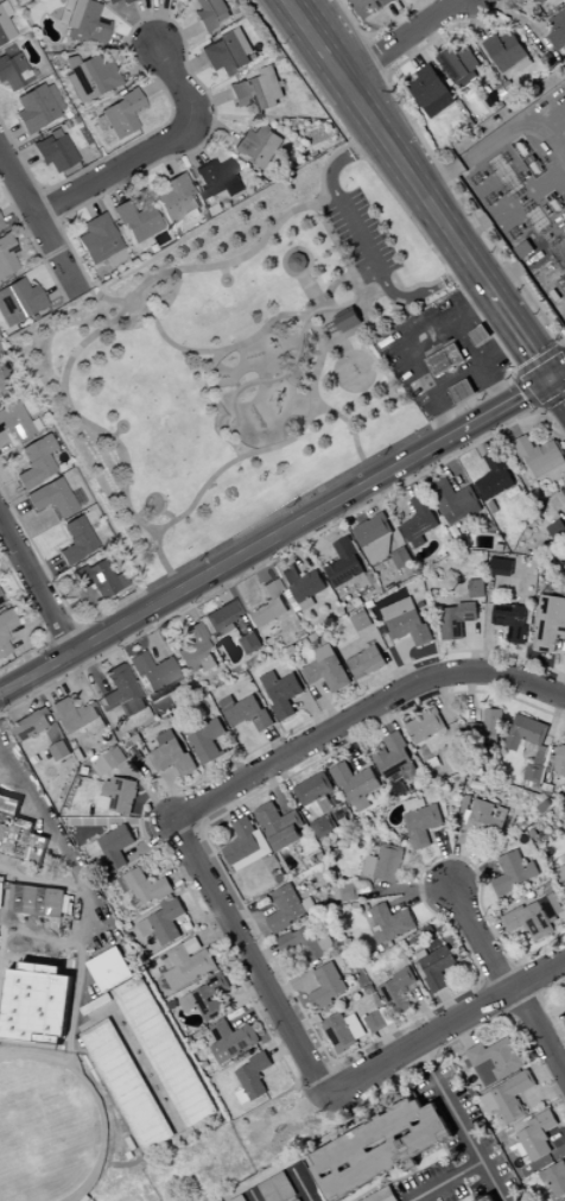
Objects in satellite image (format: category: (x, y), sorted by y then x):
building: (121, 0)
building: (373, 4)
building: (209, 13)
building: (82, 21)
building: (4, 24)
building: (558, 30)
road: (399, 39)
building: (503, 50)
building: (227, 53)
building: (459, 67)
building: (12, 70)
building: (88, 77)
building: (256, 90)
building: (430, 91)
building: (36, 107)
building: (119, 114)
road: (494, 144)
building: (258, 146)
road: (151, 150)
building: (52, 152)
road: (344, 158)
building: (216, 178)
road: (547, 183)
road: (418, 189)
power substation: (525, 194)
building: (174, 200)
building: (135, 222)
road: (484, 222)
road: (37, 223)
building: (0, 226)
road: (563, 227)
parking lot: (362, 235)
road: (361, 238)
building: (96, 239)
building: (525, 249)
building: (6, 255)
road: (345, 260)
road: (523, 266)
road: (310, 286)
road: (426, 291)
road: (377, 295)
building: (556, 295)
building: (18, 302)
road: (368, 312)
road: (118, 314)
building: (349, 318)
building: (563, 318)
building: (332, 328)
building: (481, 335)
road: (400, 343)
road: (189, 349)
building: (430, 350)
gas station: (443, 354)
building: (446, 359)
park: (234, 362)
road: (287, 369)
road: (558, 373)
traffic signals: (551, 378)
road: (557, 388)
building: (463, 391)
road: (554, 400)
road: (542, 410)
road: (510, 422)
building: (15, 423)
road: (348, 423)
road: (482, 436)
road: (258, 450)
building: (541, 455)
building: (34, 462)
road: (451, 463)
building: (496, 476)
road: (407, 479)
building: (564, 491)
road: (375, 495)
building: (451, 495)
building: (50, 498)
building: (494, 507)
road: (282, 510)
building: (465, 512)
building: (420, 520)
building: (558, 529)
road: (275, 535)
building: (375, 537)
building: (75, 541)
road: (312, 541)
road: (301, 546)
road: (284, 552)
building: (402, 557)
building: (507, 557)
road: (426, 558)
building: (345, 562)
road: (256, 564)
building: (502, 567)
building: (96, 579)
road: (224, 582)
building: (303, 583)
building: (364, 583)
road: (34, 587)
building: (478, 588)
building: (444, 589)
building: (0, 602)
building: (358, 602)
building: (370, 603)
building: (269, 605)
building: (309, 605)
building: (421, 605)
road: (180, 608)
building: (399, 608)
building: (358, 612)
building: (222, 617)
building: (515, 617)
building: (457, 619)
building: (362, 621)
building: (550, 622)
building: (411, 627)
building: (5, 630)
building: (271, 630)
building: (224, 631)
road: (148, 634)
road: (489, 638)
building: (250, 643)
road: (472, 646)
building: (193, 649)
building: (367, 662)
building: (209, 663)
road: (406, 663)
road: (89, 666)
building: (328, 669)
road: (393, 669)
building: (155, 672)
building: (246, 676)
road: (560, 676)
road: (46, 683)
building: (121, 690)
building: (159, 693)
building: (282, 693)
road: (414, 695)
road: (471, 695)
road: (27, 704)
road: (325, 706)
road: (446, 707)
road: (423, 709)
road: (360, 710)
building: (247, 712)
road: (315, 712)
building: (75, 714)
road: (382, 718)
road: (553, 720)
building: (31, 723)
building: (96, 726)
building: (488, 728)
building: (526, 732)
building: (428, 733)
building: (208, 740)
road: (277, 742)
road: (353, 744)
building: (528, 746)
building: (61, 751)
building: (488, 752)
building: (453, 753)
building: (80, 754)
road: (553, 754)
road: (2, 756)
building: (172, 756)
building: (394, 756)
road: (234, 757)
building: (115, 758)
building: (560, 760)
building: (101, 765)
building: (51, 771)
building: (411, 772)
building: (534, 773)
building: (545, 773)
road: (301, 777)
building: (548, 778)
building: (355, 780)
road: (287, 782)
road: (275, 789)
building: (315, 789)
road: (148, 791)
road: (173, 792)
building: (119, 795)
building: (550, 802)
road: (146, 803)
road: (231, 803)
building: (363, 804)
building: (415, 804)
building: (466, 804)
building: (544, 805)
road: (189, 808)
building: (26, 816)
building: (484, 822)
building: (424, 824)
building: (280, 826)
building: (323, 827)
road: (203, 829)
building: (39, 832)
building: (19, 833)
road: (180, 837)
building: (242, 841)
road: (153, 842)
building: (116, 847)
road: (224, 847)
building: (96, 851)
road: (446, 856)
road: (205, 858)
building: (391, 862)
building: (370, 865)
road: (458, 866)
building: (279, 872)
road: (471, 873)
building: (514, 873)
building: (561, 873)
road: (185, 874)
building: (275, 874)
building: (547, 874)
building: (280, 878)
road: (83, 881)
building: (362, 881)
road: (31, 883)
building: (564, 883)
building: (30, 884)
building: (550, 886)
building: (148, 887)
road: (406, 887)
building: (350, 892)
building: (1, 893)
road: (420, 893)
building: (37, 902)
building: (309, 904)
building: (552, 906)
road: (249, 909)
building: (286, 909)
road: (4, 916)
road: (209, 918)
building: (531, 921)
building: (165, 922)
building: (393, 922)
road: (216, 934)
road: (491, 934)
building: (377, 935)
road: (36, 936)
building: (37, 940)
building: (301, 944)
building: (329, 946)
building: (423, 954)
road: (247, 955)
road: (265, 955)
building: (38, 959)
building: (189, 963)
building: (438, 968)
building: (110, 969)
road: (497, 972)
building: (383, 978)
road: (504, 981)
road: (11, 984)
building: (12, 984)
road: (290, 986)
building: (331, 986)
building: (399, 992)
road: (246, 995)
building: (208, 998)
road: (296, 999)
building: (11, 1000)
building: (38, 1004)
building: (97, 1004)
building: (58, 1006)
road: (450, 1006)
road: (425, 1009)
road: (250, 1011)
building: (370, 1011)
building: (144, 1012)
road: (12, 1018)
road: (551, 1018)
building: (376, 1022)
road: (443, 1026)
building: (358, 1030)
building: (17, 1032)
building: (339, 1032)
road: (464, 1034)
building: (233, 1041)
road: (388, 1043)
building: (107, 1045)
road: (135, 1045)
road: (329, 1045)
road: (331, 1049)
road: (282, 1050)
road: (315, 1055)
road: (423, 1057)
building: (496, 1061)
road: (334, 1063)
building: (254, 1075)
road: (315, 1075)
road: (436, 1080)
building: (183, 1081)
road: (345, 1087)
road: (554, 1091)
building: (474, 1092)
building: (513, 1095)
building: (243, 1096)
building: (490, 1102)
building: (140, 1105)
road: (286, 1125)
track: (45, 1130)
building: (537, 1136)
road: (472, 1145)
building: (514, 1148)
building: (379, 1149)
road: (559, 1152)
park: (185, 1171)
building: (556, 1178)
road: (447, 1181)
road: (383, 1183)
road: (299, 1184)
road: (388, 1184)
building: (278, 1188)
road: (323, 1193)
road: (393, 1193)
road: (253, 1195)
building: (383, 1195)
building: (240, 1199)
building: (488, 1199)
building: (299, 1200)

